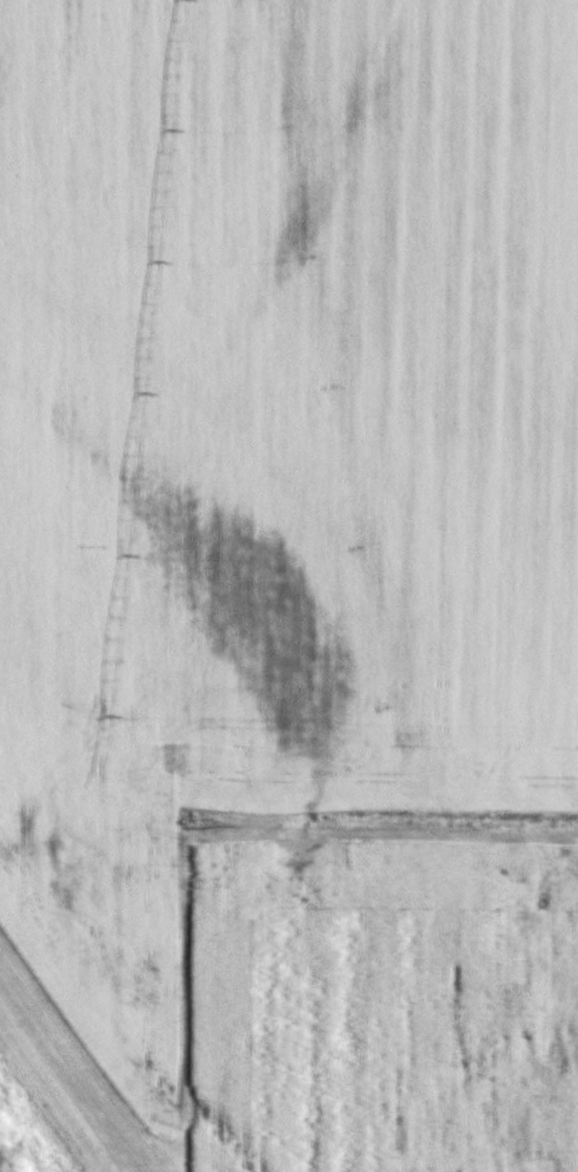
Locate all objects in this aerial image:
crop: (298, 565)

